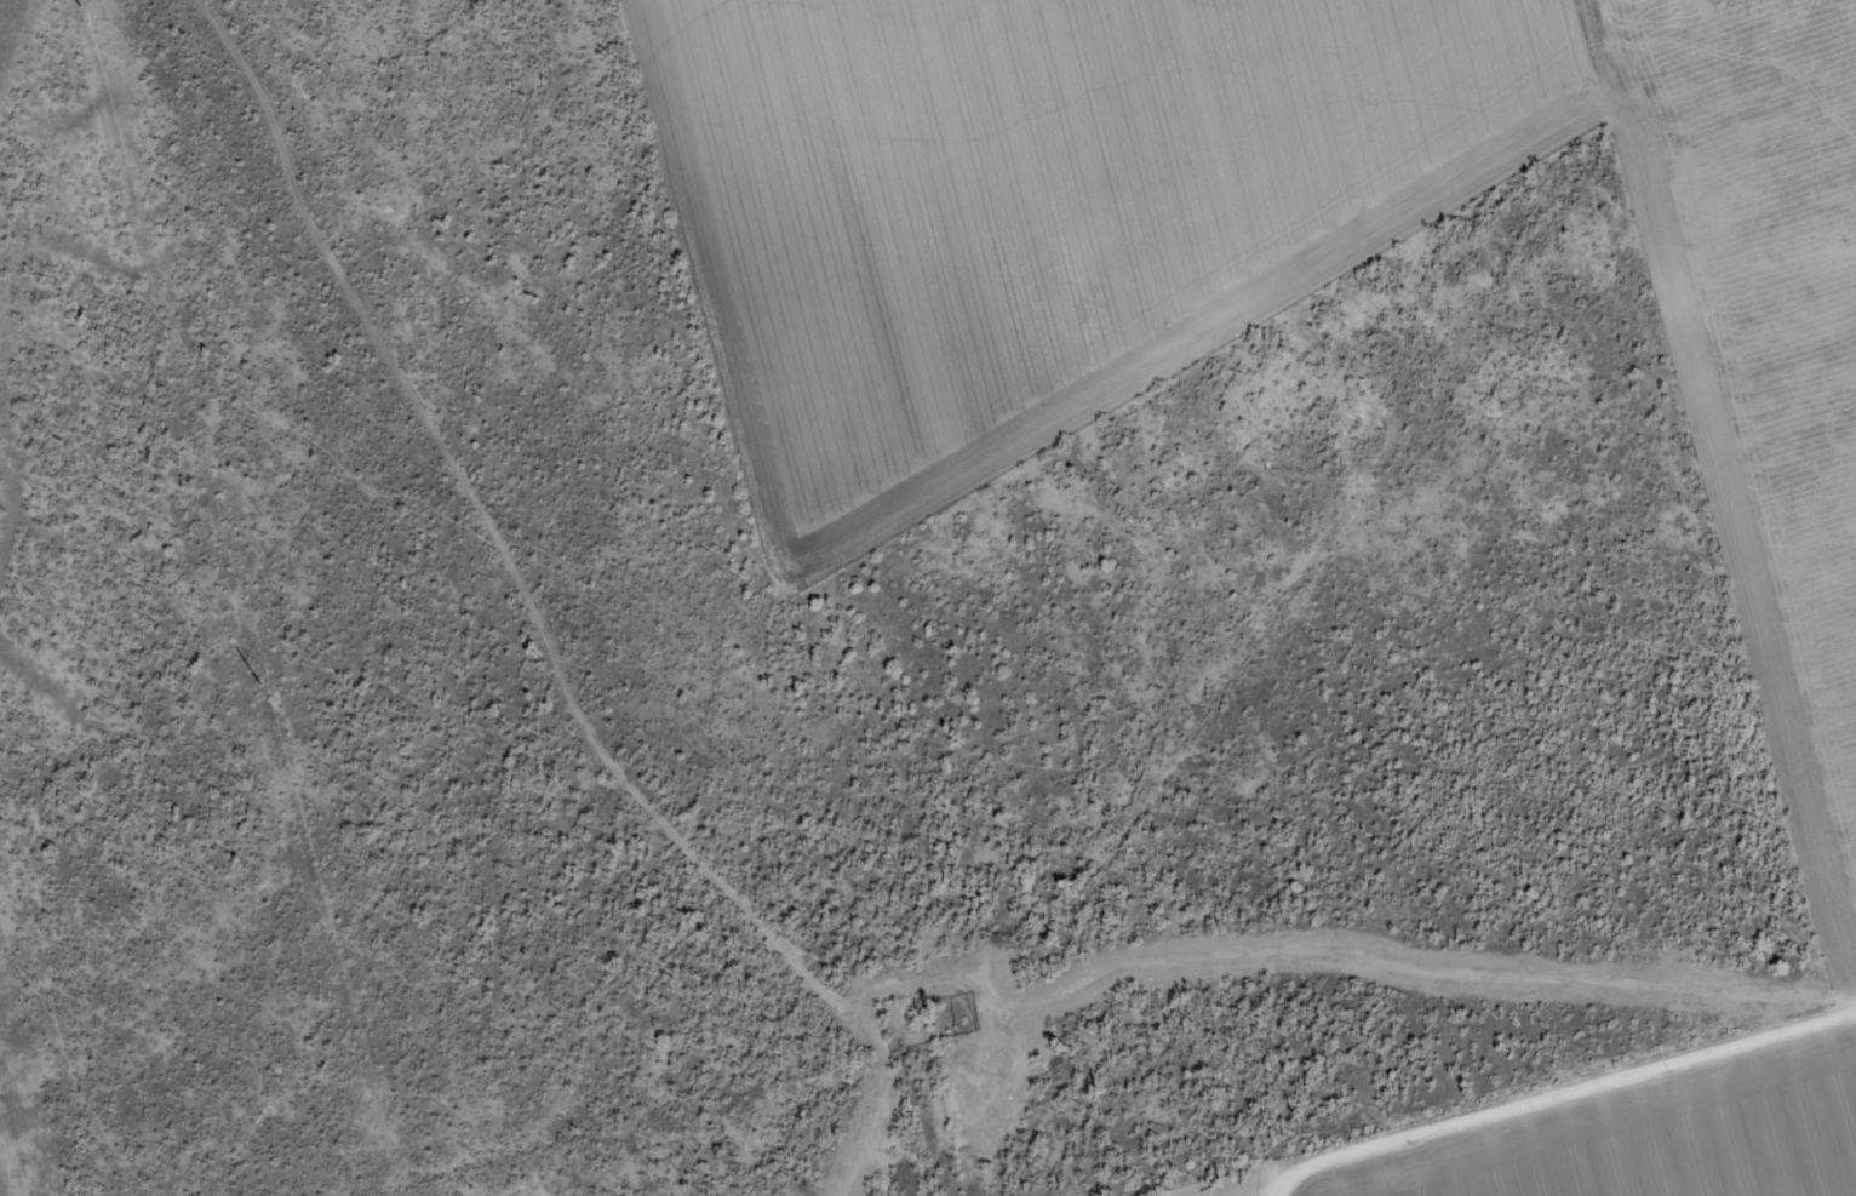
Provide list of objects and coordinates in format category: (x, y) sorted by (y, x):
power tower: (80, 6)
power tower: (259, 683)
road: (1602, 1122)

